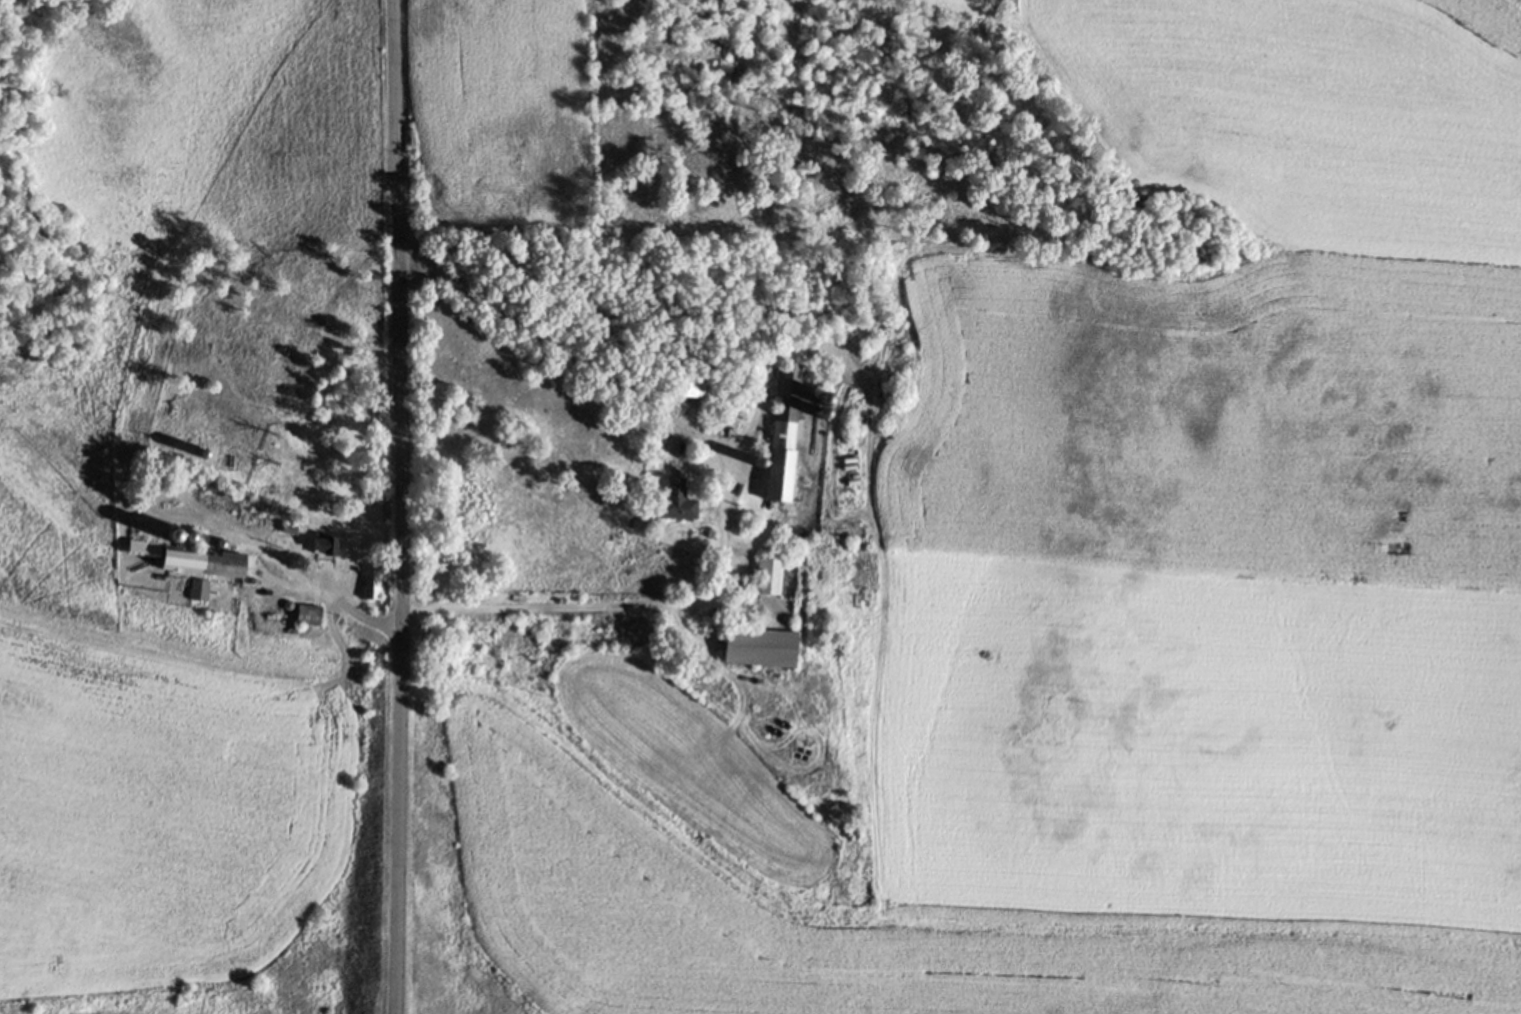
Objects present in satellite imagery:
crop: (514, 124)
road: (974, 257)
building: (694, 381)
building: (781, 434)
building: (257, 493)
road: (726, 494)
building: (676, 500)
road: (401, 506)
building: (286, 528)
building: (322, 544)
building: (190, 554)
building: (767, 574)
crop: (1152, 581)
building: (369, 583)
building: (197, 589)
road: (332, 592)
building: (307, 613)
building: (759, 645)

